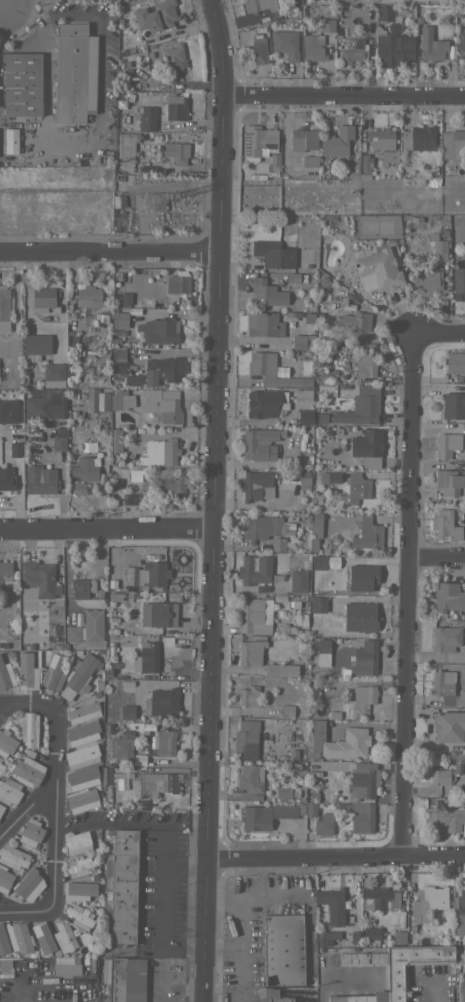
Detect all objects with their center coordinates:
road: (2, 0)
road: (1, 1)
park: (419, 1)
building: (258, 5)
building: (385, 12)
building: (155, 15)
building: (326, 25)
building: (328, 42)
building: (285, 44)
building: (431, 45)
building: (461, 45)
building: (312, 47)
building: (392, 47)
building: (259, 48)
building: (352, 52)
building: (172, 57)
building: (74, 72)
building: (22, 83)
road: (343, 97)
building: (175, 108)
building: (146, 118)
road: (79, 137)
building: (380, 138)
building: (418, 138)
building: (10, 140)
building: (337, 141)
building: (257, 142)
building: (452, 144)
building: (125, 146)
building: (304, 147)
building: (174, 153)
building: (388, 157)
building: (364, 166)
power tower: (142, 202)
building: (438, 245)
building: (274, 253)
road: (109, 254)
building: (379, 268)
building: (292, 278)
building: (302, 278)
building: (426, 280)
building: (177, 282)
building: (458, 283)
building: (267, 292)
building: (88, 296)
building: (43, 299)
building: (123, 299)
building: (4, 303)
building: (308, 318)
building: (120, 319)
building: (355, 320)
building: (264, 324)
building: (159, 330)
road: (438, 333)
building: (303, 341)
building: (36, 346)
building: (118, 359)
building: (454, 362)
building: (365, 364)
building: (162, 370)
building: (270, 370)
building: (53, 375)
building: (464, 378)
building: (303, 394)
building: (121, 399)
building: (89, 401)
building: (46, 405)
building: (163, 405)
building: (261, 405)
building: (366, 405)
building: (453, 405)
building: (7, 412)
building: (305, 416)
building: (115, 425)
building: (59, 439)
building: (116, 440)
building: (258, 443)
building: (446, 444)
building: (367, 446)
building: (159, 452)
building: (15, 453)
building: (85, 465)
building: (287, 476)
building: (6, 479)
building: (40, 479)
building: (303, 479)
building: (447, 479)
building: (171, 482)
building: (256, 485)
building: (357, 487)
building: (75, 488)
road: (213, 500)
building: (445, 524)
building: (261, 527)
road: (106, 529)
building: (315, 529)
building: (367, 533)
building: (278, 543)
road: (436, 558)
building: (369, 570)
building: (254, 571)
building: (156, 574)
building: (7, 576)
building: (133, 577)
building: (38, 580)
building: (298, 580)
building: (351, 583)
building: (82, 587)
road: (407, 595)
building: (448, 596)
building: (317, 604)
building: (158, 614)
building: (254, 615)
building: (357, 615)
building: (86, 627)
building: (445, 639)
building: (323, 645)
building: (250, 651)
building: (148, 656)
building: (365, 658)
building: (281, 669)
building: (27, 671)
building: (53, 672)
building: (6, 673)
building: (78, 676)
building: (443, 686)
building: (364, 694)
building: (248, 696)
building: (462, 697)
building: (161, 702)
building: (287, 710)
building: (127, 711)
building: (82, 712)
building: (449, 726)
building: (107, 728)
building: (29, 729)
building: (82, 732)
building: (124, 734)
building: (244, 741)
building: (6, 742)
building: (165, 742)
building: (338, 742)
building: (121, 749)
building: (81, 756)
building: (0, 758)
building: (1, 766)
building: (27, 771)
building: (446, 771)
building: (81, 776)
building: (363, 779)
building: (117, 782)
building: (156, 783)
building: (250, 783)
building: (9, 791)
building: (283, 792)
building: (464, 793)
building: (82, 800)
road: (55, 805)
building: (1, 808)
road: (27, 809)
building: (310, 809)
building: (268, 815)
building: (362, 817)
building: (446, 817)
road: (130, 823)
building: (323, 823)
building: (31, 833)
building: (125, 841)
building: (77, 842)
building: (13, 857)
road: (335, 859)
building: (79, 866)
building: (4, 879)
building: (29, 883)
building: (78, 890)
road: (223, 894)
building: (122, 896)
building: (435, 897)
building: (379, 898)
road: (164, 903)
building: (332, 904)
building: (413, 911)
building: (460, 914)
building: (79, 916)
road: (242, 920)
road: (308, 931)
building: (370, 932)
building: (399, 933)
building: (19, 937)
building: (43, 937)
building: (63, 937)
building: (327, 937)
building: (353, 937)
building: (3, 942)
road: (222, 949)
building: (283, 949)
building: (362, 958)
building: (66, 959)
building: (5, 963)
building: (66, 969)
building: (6, 972)
building: (124, 978)
building: (396, 978)
road: (322, 980)
road: (435, 991)
building: (265, 993)
building: (360, 997)
building: (281, 999)

